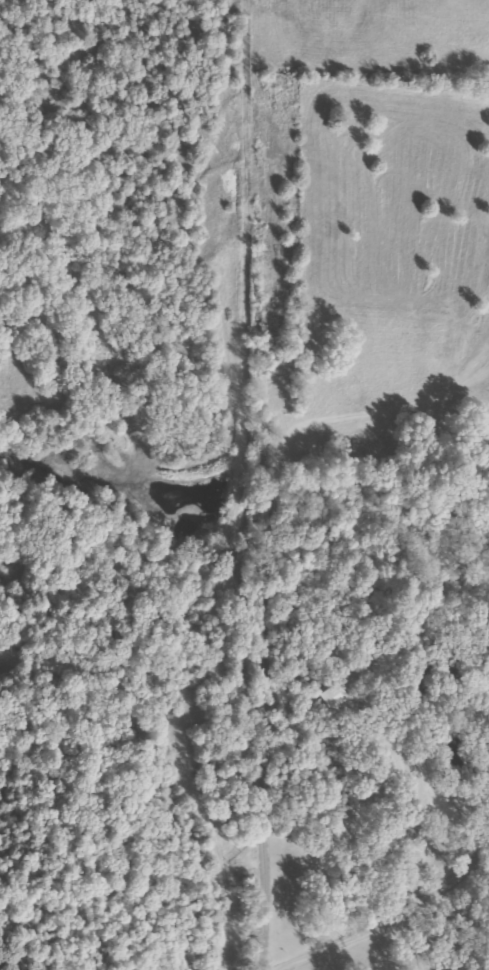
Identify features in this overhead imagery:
road: (443, 158)
road: (383, 470)
road: (259, 482)
building: (420, 678)
building: (332, 696)
building: (399, 834)

